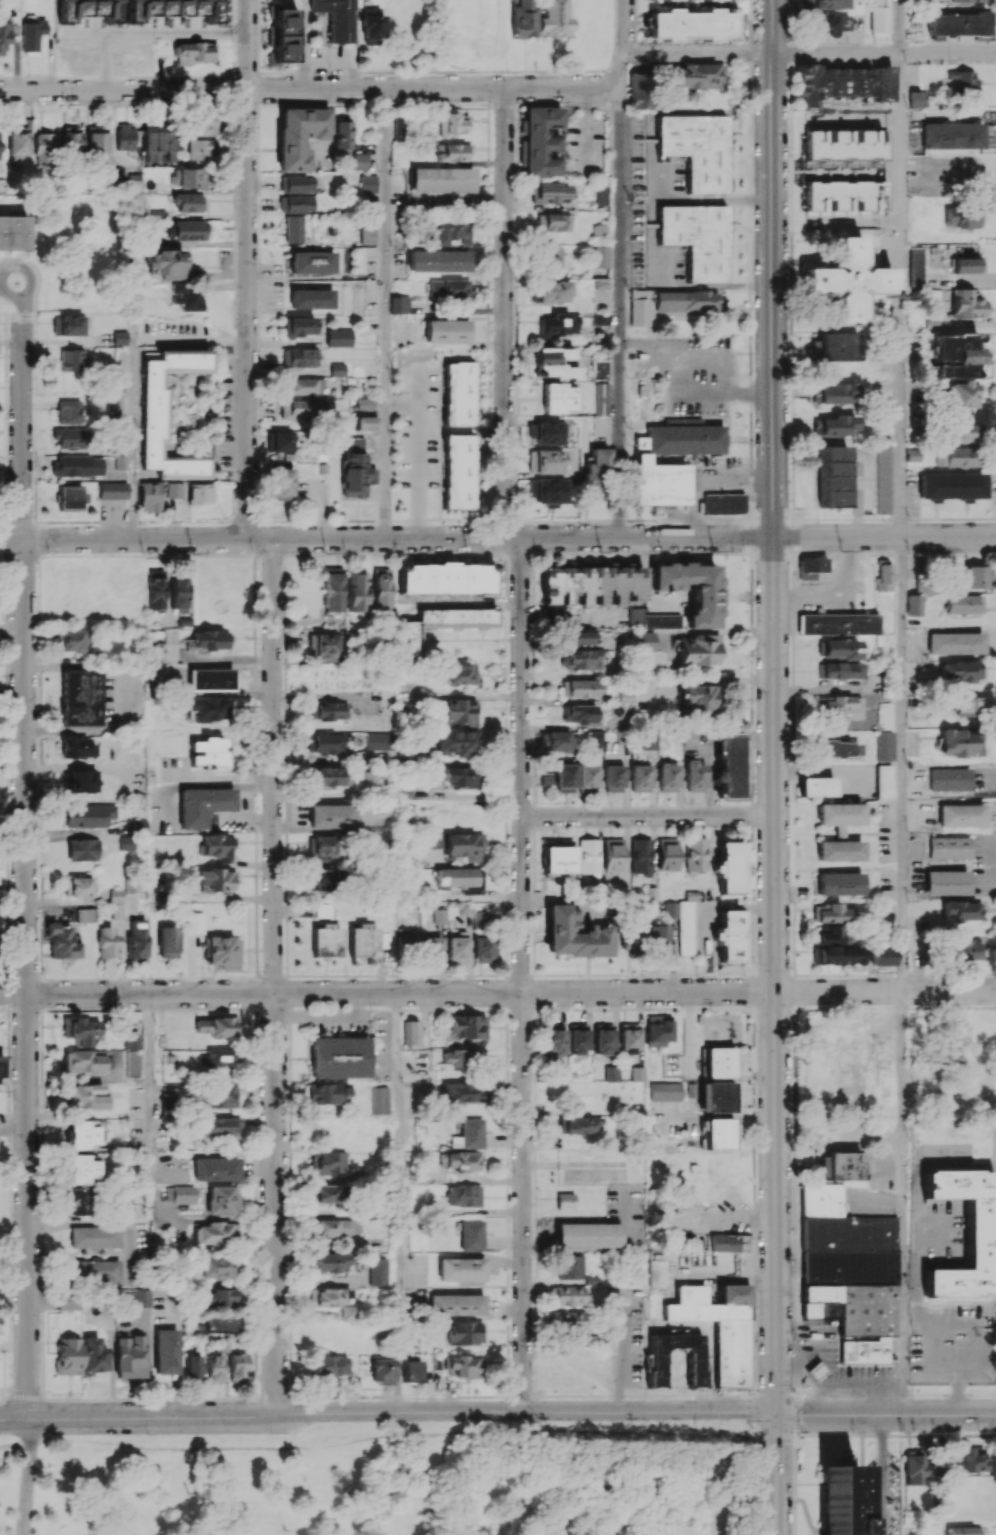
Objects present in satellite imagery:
building: (669, 0)
building: (709, 0)
building: (965, 1)
building: (827, 4)
building: (171, 8)
building: (78, 9)
building: (111, 11)
building: (878, 17)
building: (335, 18)
building: (522, 19)
building: (553, 19)
building: (957, 23)
building: (829, 24)
building: (689, 25)
building: (372, 26)
road: (898, 26)
road: (770, 27)
road: (147, 32)
building: (31, 34)
building: (4, 35)
building: (283, 37)
building: (194, 52)
road: (883, 53)
road: (697, 54)
building: (697, 75)
building: (962, 81)
building: (841, 83)
road: (310, 89)
building: (639, 91)
building: (917, 99)
building: (451, 123)
building: (202, 125)
building: (863, 126)
building: (299, 135)
building: (950, 135)
building: (125, 136)
building: (342, 137)
building: (70, 138)
building: (541, 141)
building: (17, 142)
building: (158, 142)
building: (97, 143)
building: (43, 146)
building: (0, 147)
building: (200, 148)
building: (698, 149)
building: (450, 152)
building: (359, 160)
building: (188, 177)
building: (440, 180)
building: (130, 183)
building: (367, 183)
building: (296, 184)
building: (549, 192)
road: (459, 196)
building: (601, 196)
building: (188, 202)
parking lot: (14, 203)
building: (296, 203)
building: (962, 217)
building: (553, 222)
building: (293, 228)
building: (189, 230)
building: (449, 231)
building: (598, 232)
building: (12, 234)
building: (366, 235)
building: (698, 240)
building: (599, 256)
building: (549, 257)
building: (437, 260)
building: (312, 262)
building: (167, 264)
building: (966, 265)
road: (1, 266)
road: (247, 268)
road: (621, 268)
building: (914, 268)
road: (35, 280)
building: (600, 282)
building: (844, 284)
building: (448, 289)
building: (552, 291)
road: (899, 294)
building: (185, 297)
building: (312, 298)
building: (687, 300)
building: (967, 303)
building: (398, 304)
building: (639, 307)
road: (385, 313)
building: (601, 317)
building: (67, 325)
building: (555, 325)
building: (298, 326)
building: (445, 331)
parking lot: (171, 333)
building: (119, 337)
building: (338, 337)
building: (838, 346)
building: (956, 356)
building: (298, 357)
building: (71, 359)
road: (701, 361)
building: (554, 363)
building: (337, 369)
building: (301, 386)
building: (458, 393)
building: (835, 394)
building: (962, 395)
building: (558, 398)
building: (601, 398)
road: (185, 400)
building: (364, 403)
road: (234, 408)
building: (298, 408)
building: (112, 409)
road: (216, 410)
parking lot: (228, 410)
building: (68, 411)
road: (198, 415)
road: (208, 415)
building: (153, 416)
road: (175, 416)
building: (366, 422)
building: (838, 425)
road: (133, 426)
road: (185, 428)
building: (958, 432)
building: (548, 433)
building: (71, 437)
building: (282, 441)
building: (912, 454)
road: (414, 456)
building: (956, 457)
building: (120, 461)
building: (545, 461)
building: (676, 464)
building: (77, 465)
building: (355, 470)
building: (457, 471)
building: (595, 475)
building: (831, 475)
building: (883, 478)
building: (280, 481)
building: (950, 486)
building: (112, 490)
building: (173, 490)
road: (234, 490)
building: (546, 491)
building: (199, 493)
building: (149, 496)
building: (70, 497)
building: (722, 502)
road: (497, 537)
building: (810, 567)
building: (976, 576)
building: (883, 577)
building: (445, 579)
building: (590, 584)
building: (924, 585)
building: (332, 589)
building: (380, 589)
building: (155, 590)
building: (690, 590)
building: (178, 592)
building: (356, 592)
building: (963, 603)
building: (913, 604)
building: (653, 619)
building: (838, 623)
building: (443, 624)
building: (578, 637)
building: (72, 639)
building: (206, 640)
building: (643, 640)
building: (954, 643)
building: (324, 645)
building: (837, 648)
building: (699, 649)
building: (156, 651)
building: (580, 659)
building: (839, 670)
building: (959, 671)
road: (572, 672)
building: (454, 674)
building: (209, 679)
building: (578, 688)
road: (112, 694)
building: (80, 697)
building: (697, 697)
building: (968, 705)
building: (840, 706)
building: (207, 710)
building: (328, 710)
building: (456, 710)
building: (577, 713)
building: (884, 714)
road: (774, 732)
building: (595, 738)
building: (379, 740)
building: (555, 741)
building: (960, 742)
building: (327, 743)
building: (455, 743)
building: (883, 745)
building: (76, 747)
road: (521, 747)
building: (839, 748)
building: (209, 752)
road: (901, 763)
building: (693, 775)
building: (328, 776)
building: (461, 776)
building: (586, 776)
building: (613, 777)
building: (639, 777)
building: (666, 777)
building: (370, 778)
building: (564, 778)
building: (949, 779)
building: (80, 780)
building: (884, 781)
building: (816, 787)
building: (202, 805)
building: (89, 815)
building: (331, 815)
building: (839, 815)
building: (960, 815)
road: (647, 816)
building: (436, 840)
building: (218, 846)
building: (322, 846)
building: (464, 846)
building: (948, 847)
building: (82, 849)
building: (839, 850)
building: (613, 854)
building: (667, 854)
building: (695, 854)
building: (587, 855)
building: (640, 856)
building: (558, 857)
road: (24, 858)
road: (752, 866)
building: (730, 867)
building: (455, 877)
building: (214, 879)
building: (323, 880)
building: (945, 882)
building: (839, 883)
building: (78, 886)
building: (116, 904)
building: (322, 910)
building: (961, 910)
building: (831, 913)
building: (85, 914)
building: (439, 915)
building: (681, 923)
building: (574, 934)
building: (729, 934)
building: (832, 935)
building: (631, 937)
building: (658, 937)
building: (325, 940)
building: (366, 940)
building: (136, 941)
building: (167, 941)
building: (406, 941)
building: (62, 942)
building: (107, 943)
building: (457, 947)
building: (431, 949)
building: (484, 949)
building: (964, 949)
building: (223, 951)
building: (839, 955)
building: (881, 956)
street lamp: (504, 975)
road: (273, 977)
road: (497, 992)
street lamp: (681, 1004)
road: (324, 1014)
building: (216, 1026)
building: (468, 1026)
building: (80, 1030)
building: (658, 1030)
building: (410, 1032)
building: (851, 1032)
building: (629, 1037)
building: (578, 1038)
building: (603, 1038)
building: (554, 1039)
building: (129, 1041)
building: (339, 1057)
building: (218, 1058)
building: (459, 1058)
building: (84, 1060)
building: (718, 1062)
building: (131, 1063)
building: (2, 1068)
building: (611, 1073)
building: (637, 1073)
street lamp: (757, 1081)
building: (885, 1084)
road: (149, 1085)
building: (665, 1091)
building: (463, 1092)
building: (326, 1093)
building: (968, 1093)
building: (85, 1096)
building: (218, 1096)
building: (716, 1097)
building: (378, 1100)
building: (167, 1104)
building: (578, 1124)
road: (13, 1126)
building: (219, 1127)
building: (719, 1133)
building: (469, 1134)
building: (81, 1135)
building: (459, 1160)
building: (327, 1162)
building: (839, 1165)
street lamp: (511, 1168)
building: (82, 1169)
building: (215, 1169)
street lamp: (791, 1181)
building: (330, 1193)
building: (182, 1194)
building: (463, 1195)
building: (222, 1200)
building: (565, 1200)
building: (76, 1201)
road: (397, 1201)
building: (818, 1201)
road: (903, 1202)
street lamp: (11, 1214)
street lamp: (647, 1214)
road: (732, 1219)
building: (338, 1227)
building: (216, 1233)
building: (588, 1234)
building: (471, 1235)
building: (964, 1235)
building: (93, 1236)
building: (727, 1242)
road: (603, 1249)
building: (847, 1250)
street lamp: (511, 1255)
building: (331, 1262)
building: (216, 1267)
building: (569, 1267)
building: (460, 1269)
building: (93, 1270)
building: (377, 1271)
building: (659, 1276)
street lamp: (755, 1289)
building: (568, 1295)
building: (135, 1297)
building: (327, 1297)
building: (218, 1298)
building: (69, 1301)
building: (815, 1301)
building: (455, 1304)
building: (863, 1309)
building: (349, 1312)
building: (566, 1320)
street lamp: (40, 1322)
building: (219, 1324)
building: (465, 1332)
park: (4, 1342)
street lamp: (510, 1342)
parking lot: (952, 1345)
building: (860, 1350)
building: (165, 1351)
parking lot: (831, 1351)
street lamp: (611, 1353)
building: (730, 1353)
road: (622, 1354)
building: (68, 1355)
building: (93, 1355)
building: (130, 1355)
street lamp: (259, 1356)
building: (698, 1362)
building: (215, 1365)
building: (193, 1366)
building: (327, 1366)
building: (464, 1366)
building: (238, 1367)
street lamp: (907, 1369)
building: (382, 1370)
building: (411, 1371)
building: (816, 1371)
street lamp: (11, 1376)
parking lot: (864, 1379)
street lamp: (792, 1391)
road: (950, 1394)
street lamp: (994, 1396)
road: (387, 1411)
traffic signals: (776, 1412)
road: (885, 1414)
street lamp: (395, 1420)
street lamp: (904, 1432)
street lamp: (147, 1433)
street lamp: (271, 1433)
street lamp: (697, 1433)
street lamp: (749, 1433)
street lamp: (44, 1434)
road: (391, 1436)
road: (13, 1443)
street lamp: (895, 1450)
building: (967, 1459)
road: (794, 1463)
building: (913, 1467)
road: (775, 1473)
road: (881, 1474)
road: (432, 1476)
road: (26, 1477)
park: (391, 1480)
road: (65, 1491)
building: (840, 1499)
street lamp: (759, 1501)
street lamp: (897, 1514)
building: (965, 1530)
building: (960, 1534)

